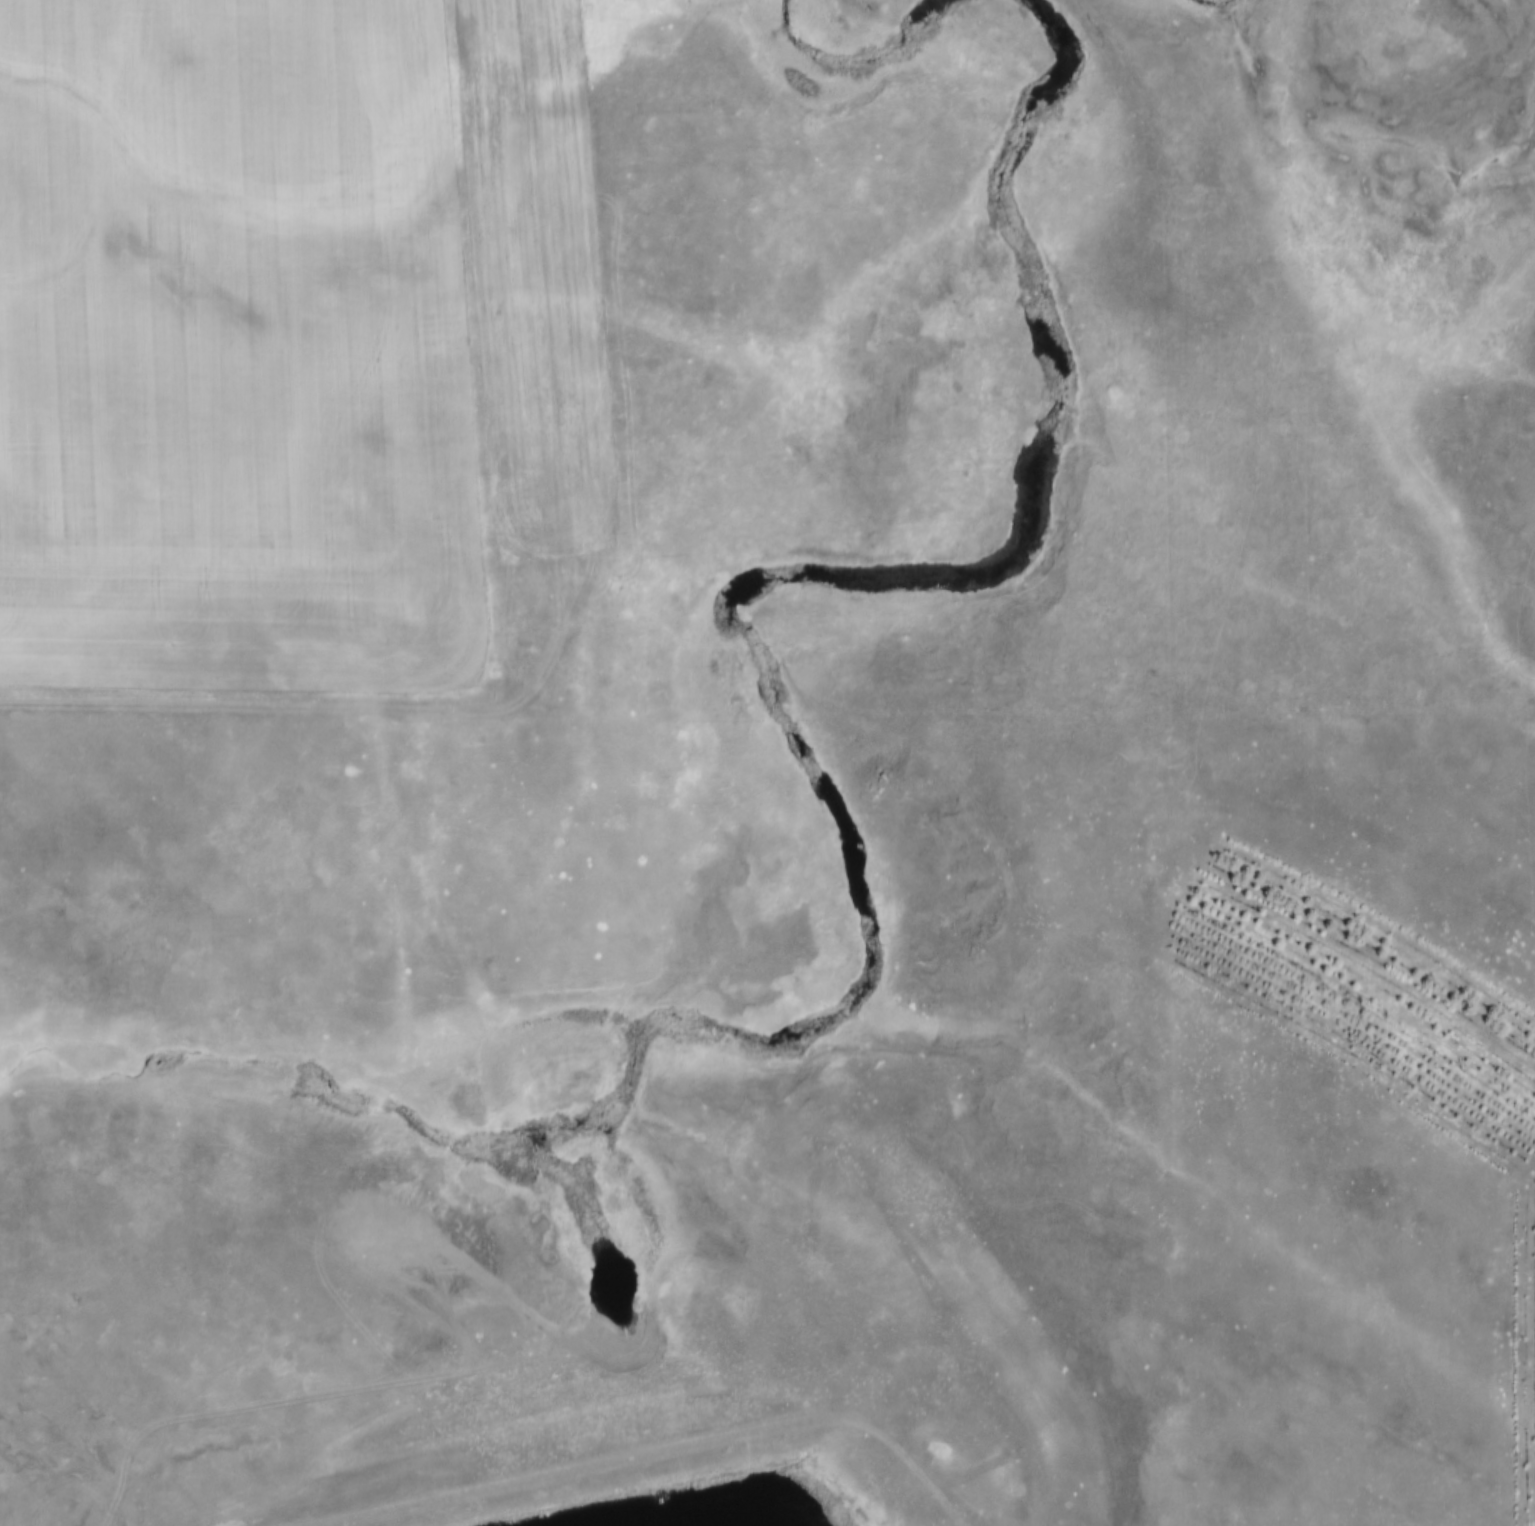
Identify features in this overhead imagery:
road: (269, 706)
road: (660, 1457)
dam: (587, 1474)

